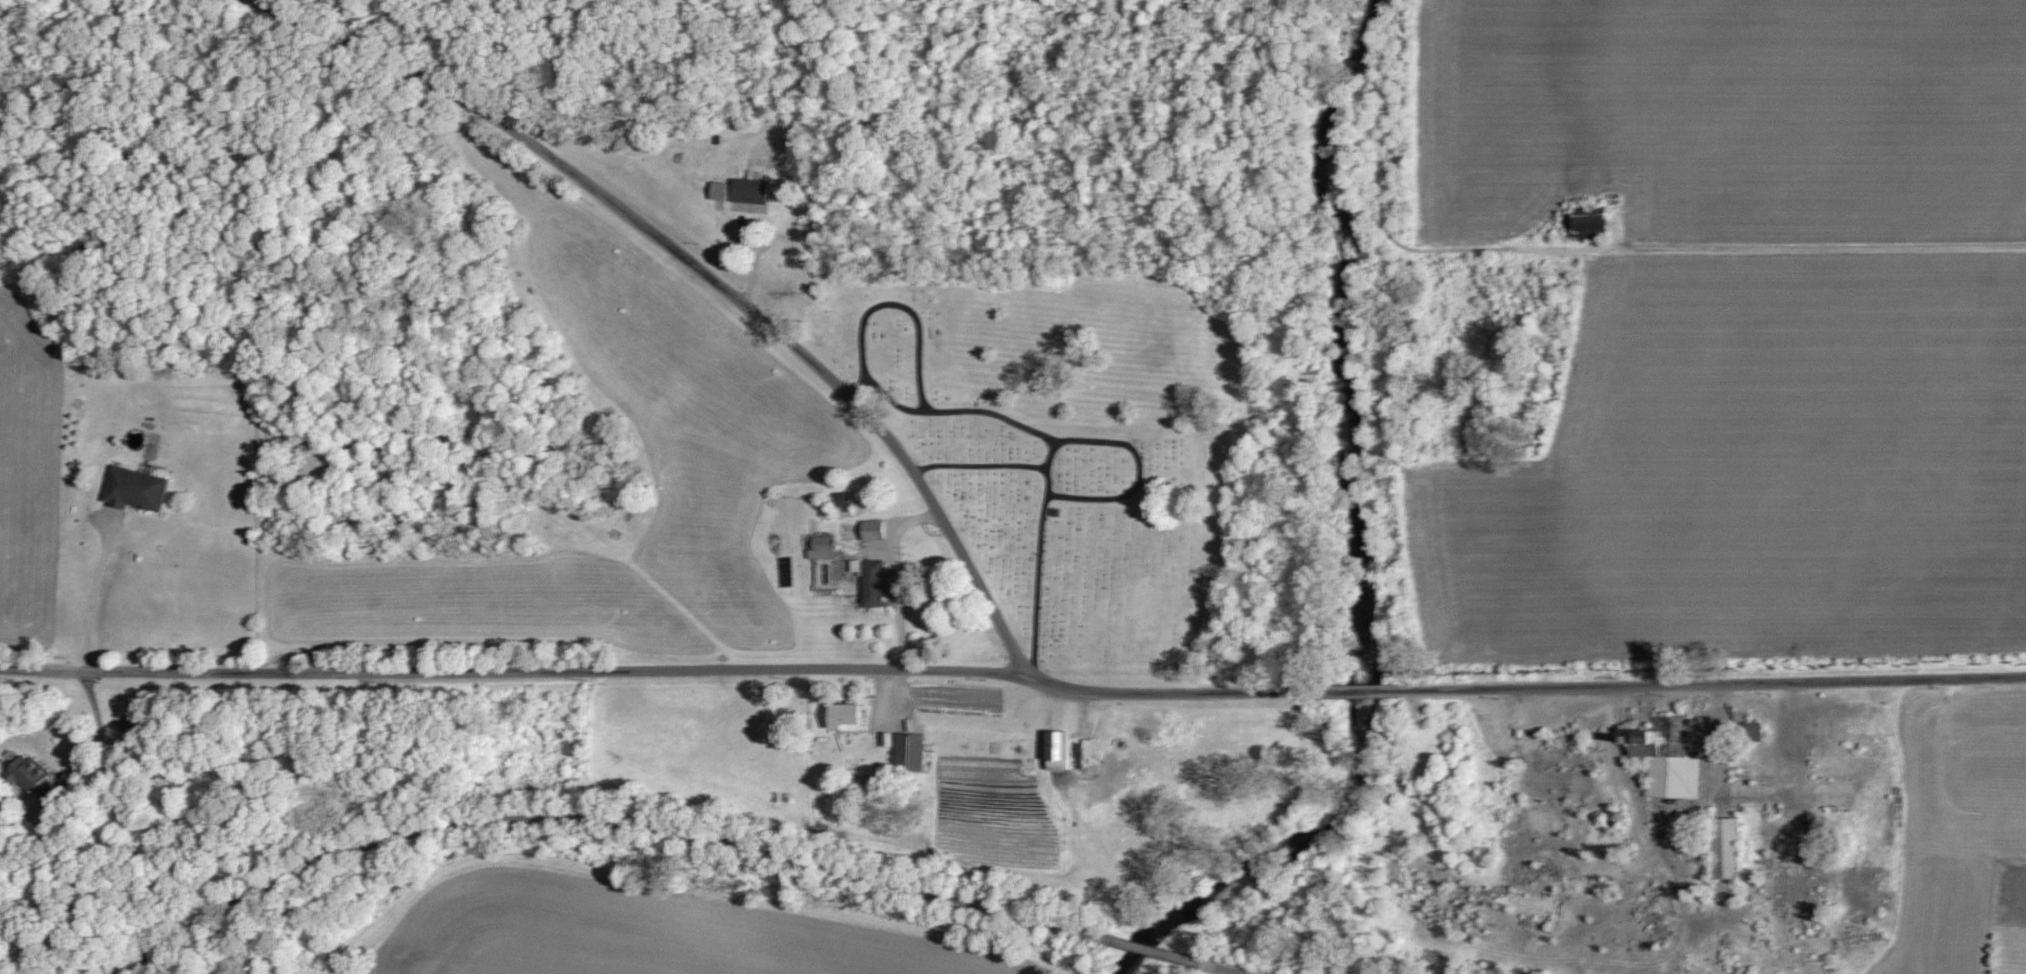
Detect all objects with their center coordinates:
building: (715, 189)
building: (747, 189)
building: (1588, 225)
road: (1822, 241)
road: (700, 268)
road: (872, 305)
road: (990, 409)
park: (1071, 446)
road: (1051, 452)
road: (981, 463)
building: (132, 488)
building: (870, 529)
building: (819, 547)
road: (898, 571)
building: (873, 583)
road: (92, 590)
road: (664, 668)
road: (1713, 680)
road: (1364, 688)
building: (843, 717)
building: (1752, 731)
building: (1087, 746)
building: (1057, 750)
building: (907, 751)
building: (1666, 758)
road: (1616, 759)
building: (967, 761)
building: (32, 775)
road: (593, 816)
building: (1724, 848)
road: (1147, 949)
road: (1222, 968)

